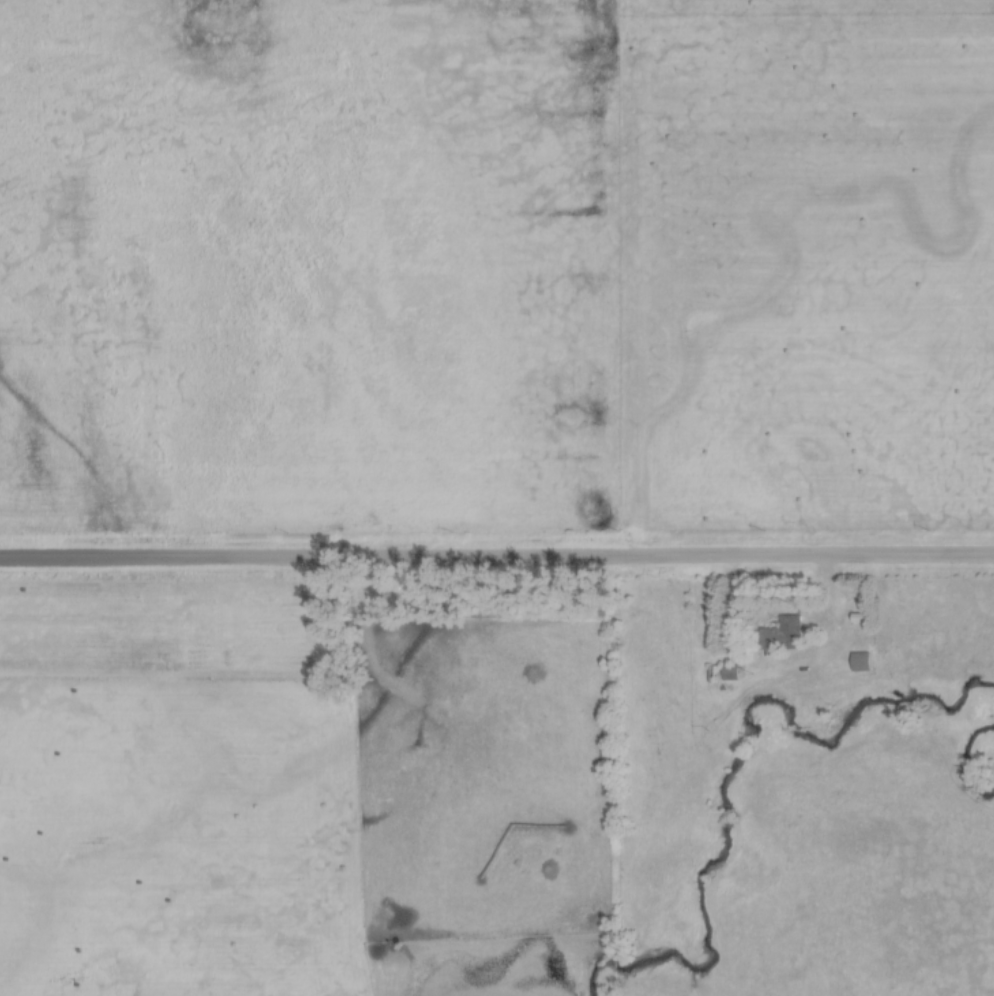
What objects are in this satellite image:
road: (496, 557)
building: (856, 619)
building: (779, 635)
building: (858, 663)
building: (727, 673)
building: (708, 676)
road: (782, 676)
river: (963, 755)
river: (731, 769)

